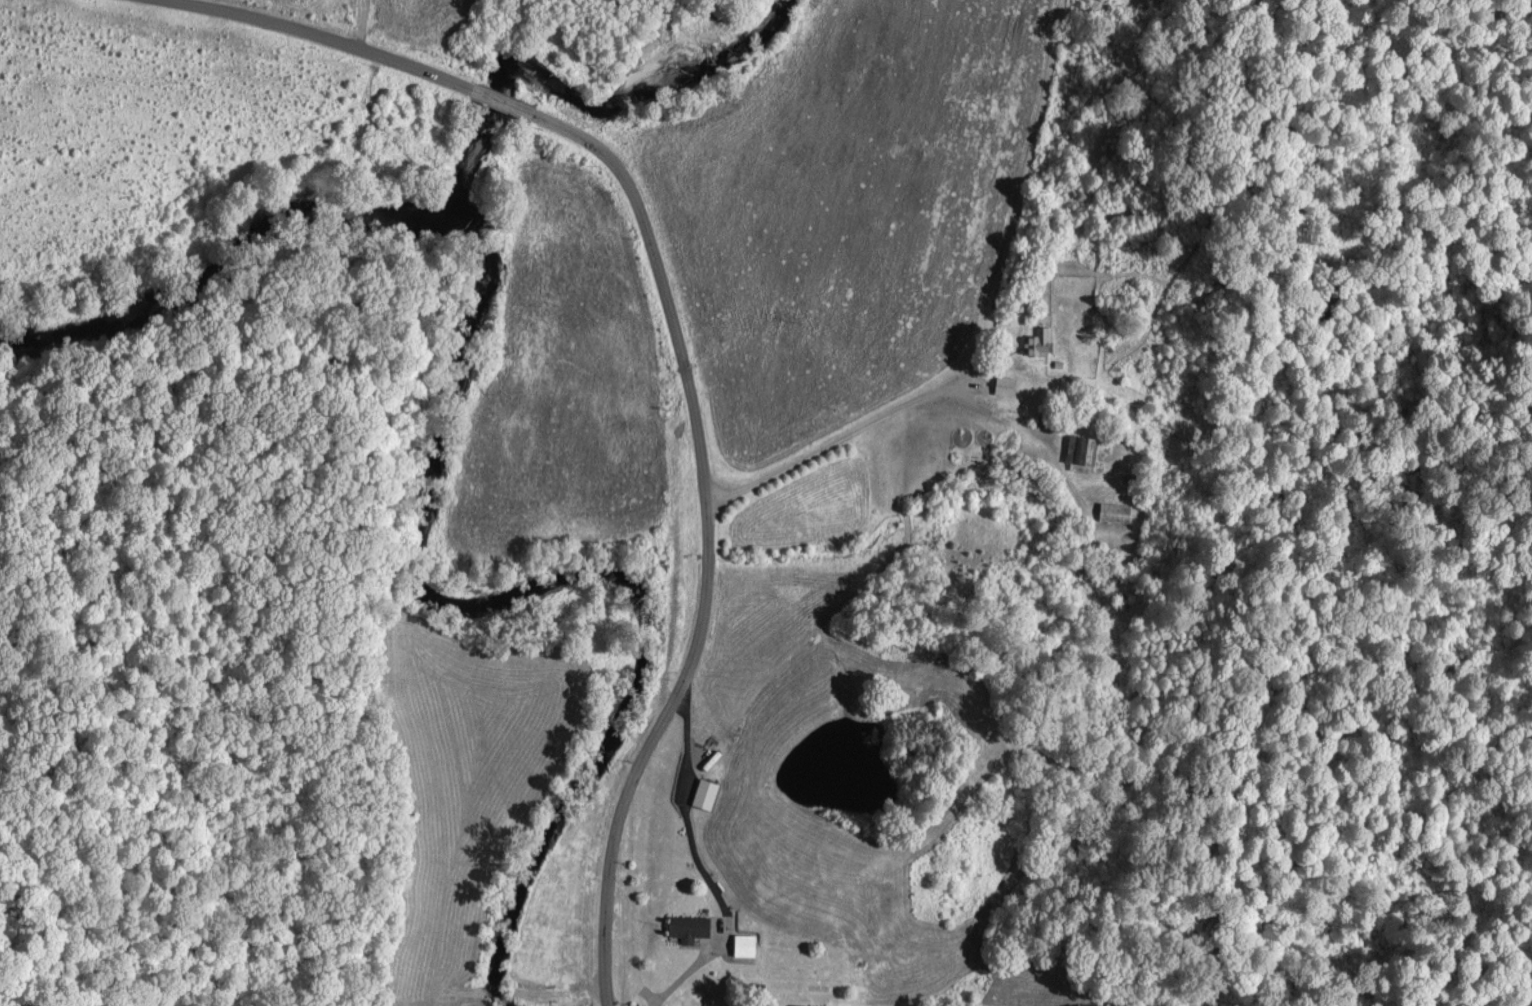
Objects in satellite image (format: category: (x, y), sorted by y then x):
road: (360, 22)
road: (325, 36)
road: (500, 100)
road: (1016, 193)
river: (222, 259)
building: (1036, 341)
building: (1003, 385)
road: (845, 433)
building: (1084, 449)
building: (1131, 478)
building: (1113, 511)
road: (704, 538)
building: (705, 793)
building: (693, 926)
building: (745, 945)

